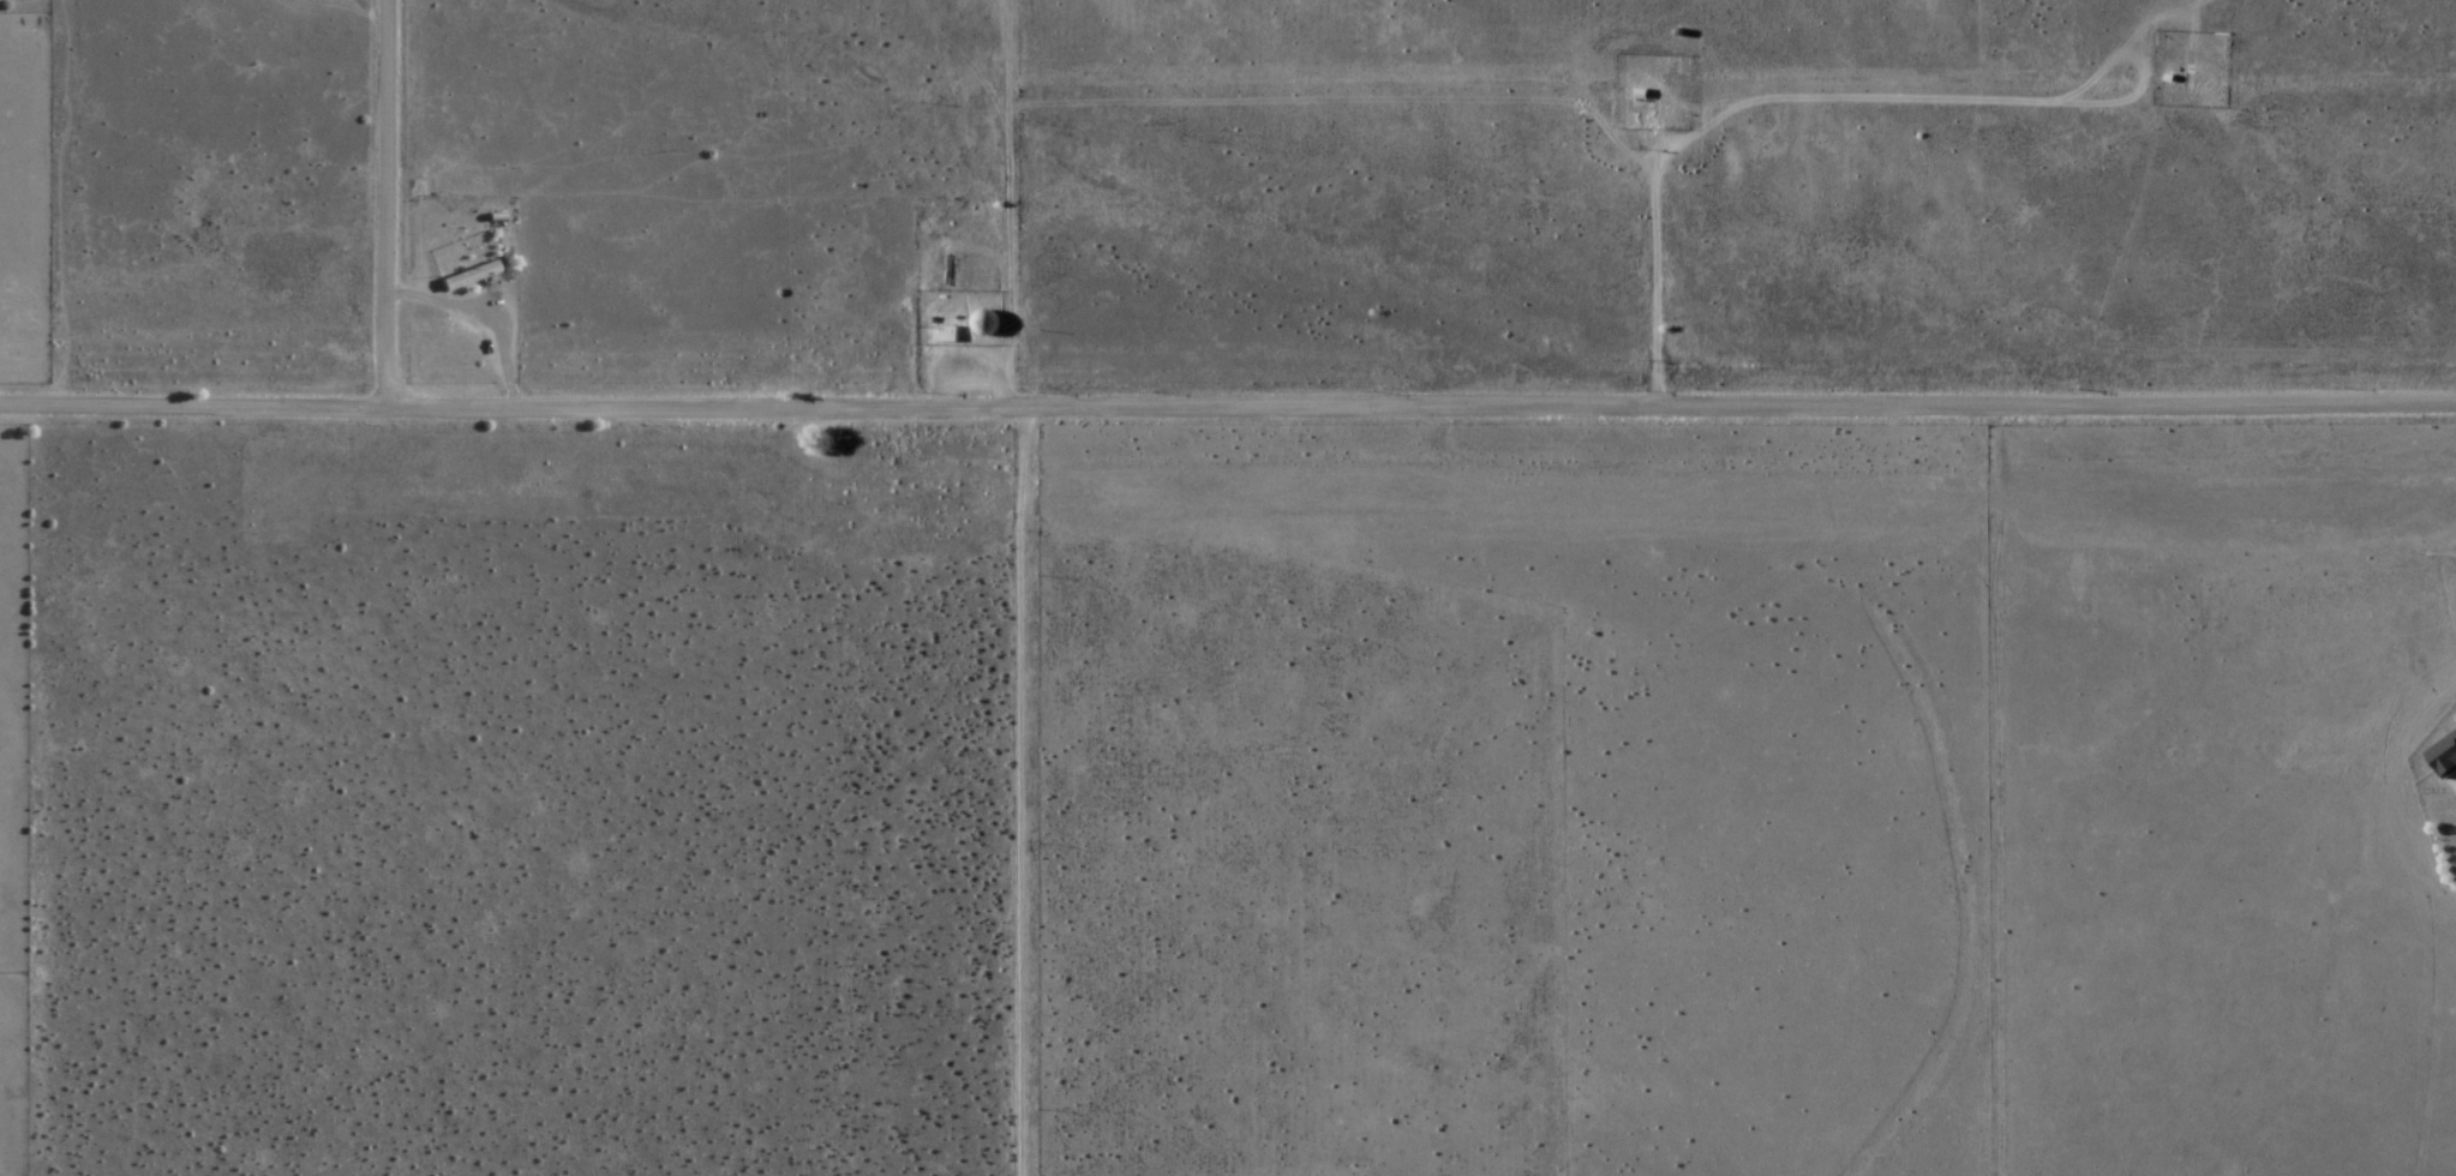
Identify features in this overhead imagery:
road: (382, 203)
building: (468, 277)
building: (986, 325)
building: (946, 336)
road: (1228, 395)
building: (2444, 760)
road: (1895, 780)

